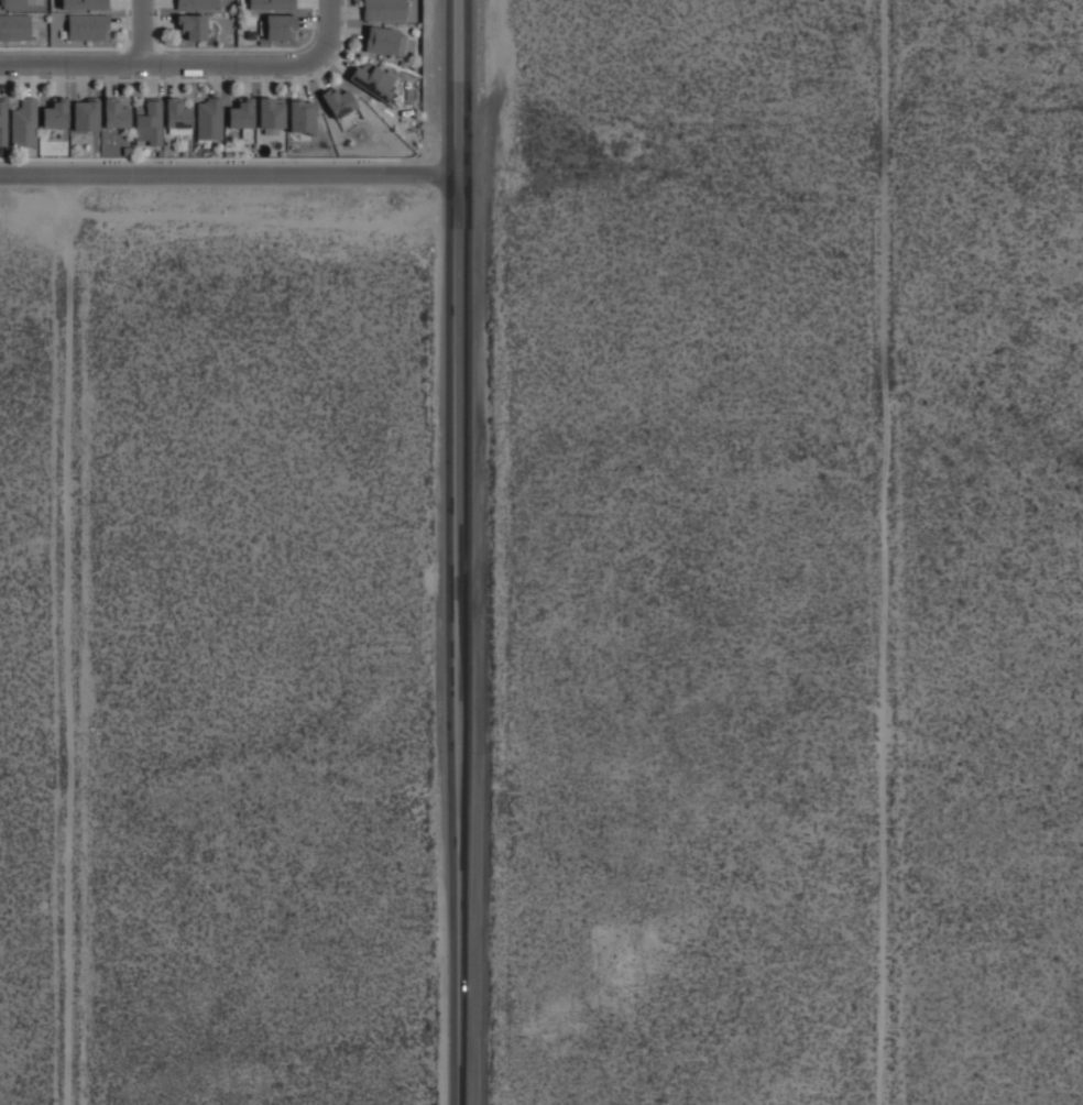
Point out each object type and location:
building: (14, 3)
building: (83, 4)
building: (271, 4)
building: (383, 10)
building: (408, 10)
building: (194, 17)
building: (14, 26)
building: (86, 26)
building: (280, 26)
road: (141, 34)
building: (384, 41)
road: (193, 68)
building: (372, 79)
building: (340, 106)
building: (114, 113)
building: (55, 114)
building: (85, 114)
building: (241, 114)
building: (271, 114)
building: (302, 116)
building: (177, 117)
building: (209, 119)
building: (147, 121)
building: (24, 123)
building: (4, 124)
road: (228, 180)
road: (458, 551)

